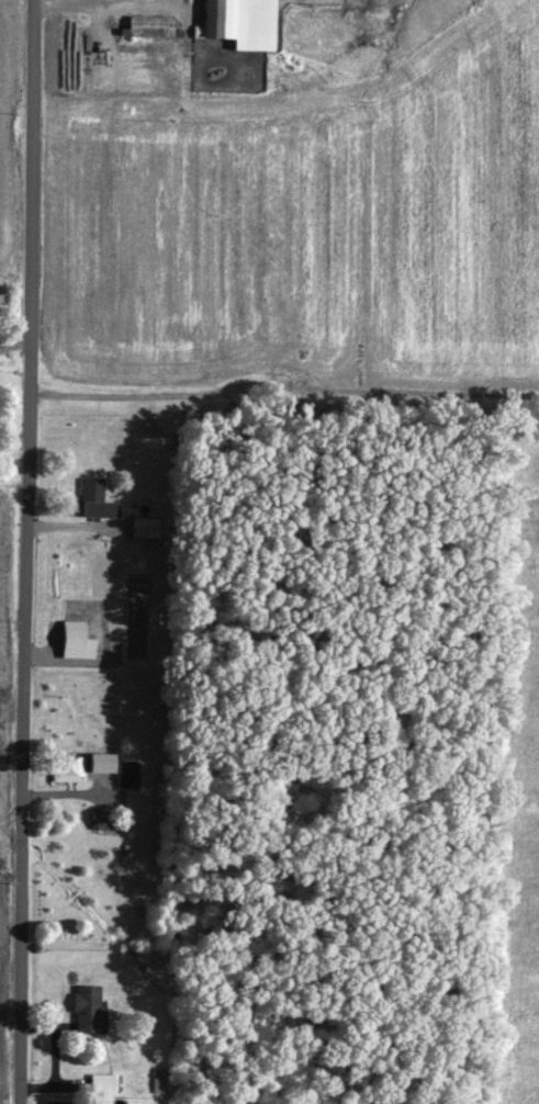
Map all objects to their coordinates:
building: (233, 25)
building: (87, 504)
road: (25, 551)
building: (68, 646)
building: (63, 774)
building: (121, 780)
building: (80, 1014)
building: (153, 1085)
building: (94, 1089)

